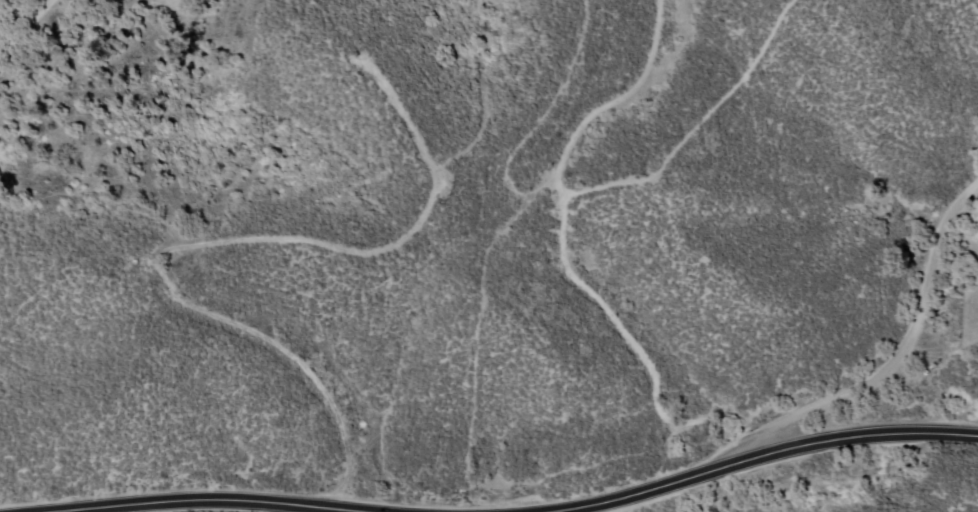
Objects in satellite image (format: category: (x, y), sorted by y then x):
road: (26, 23)
road: (900, 356)
road: (758, 455)
road: (212, 497)

